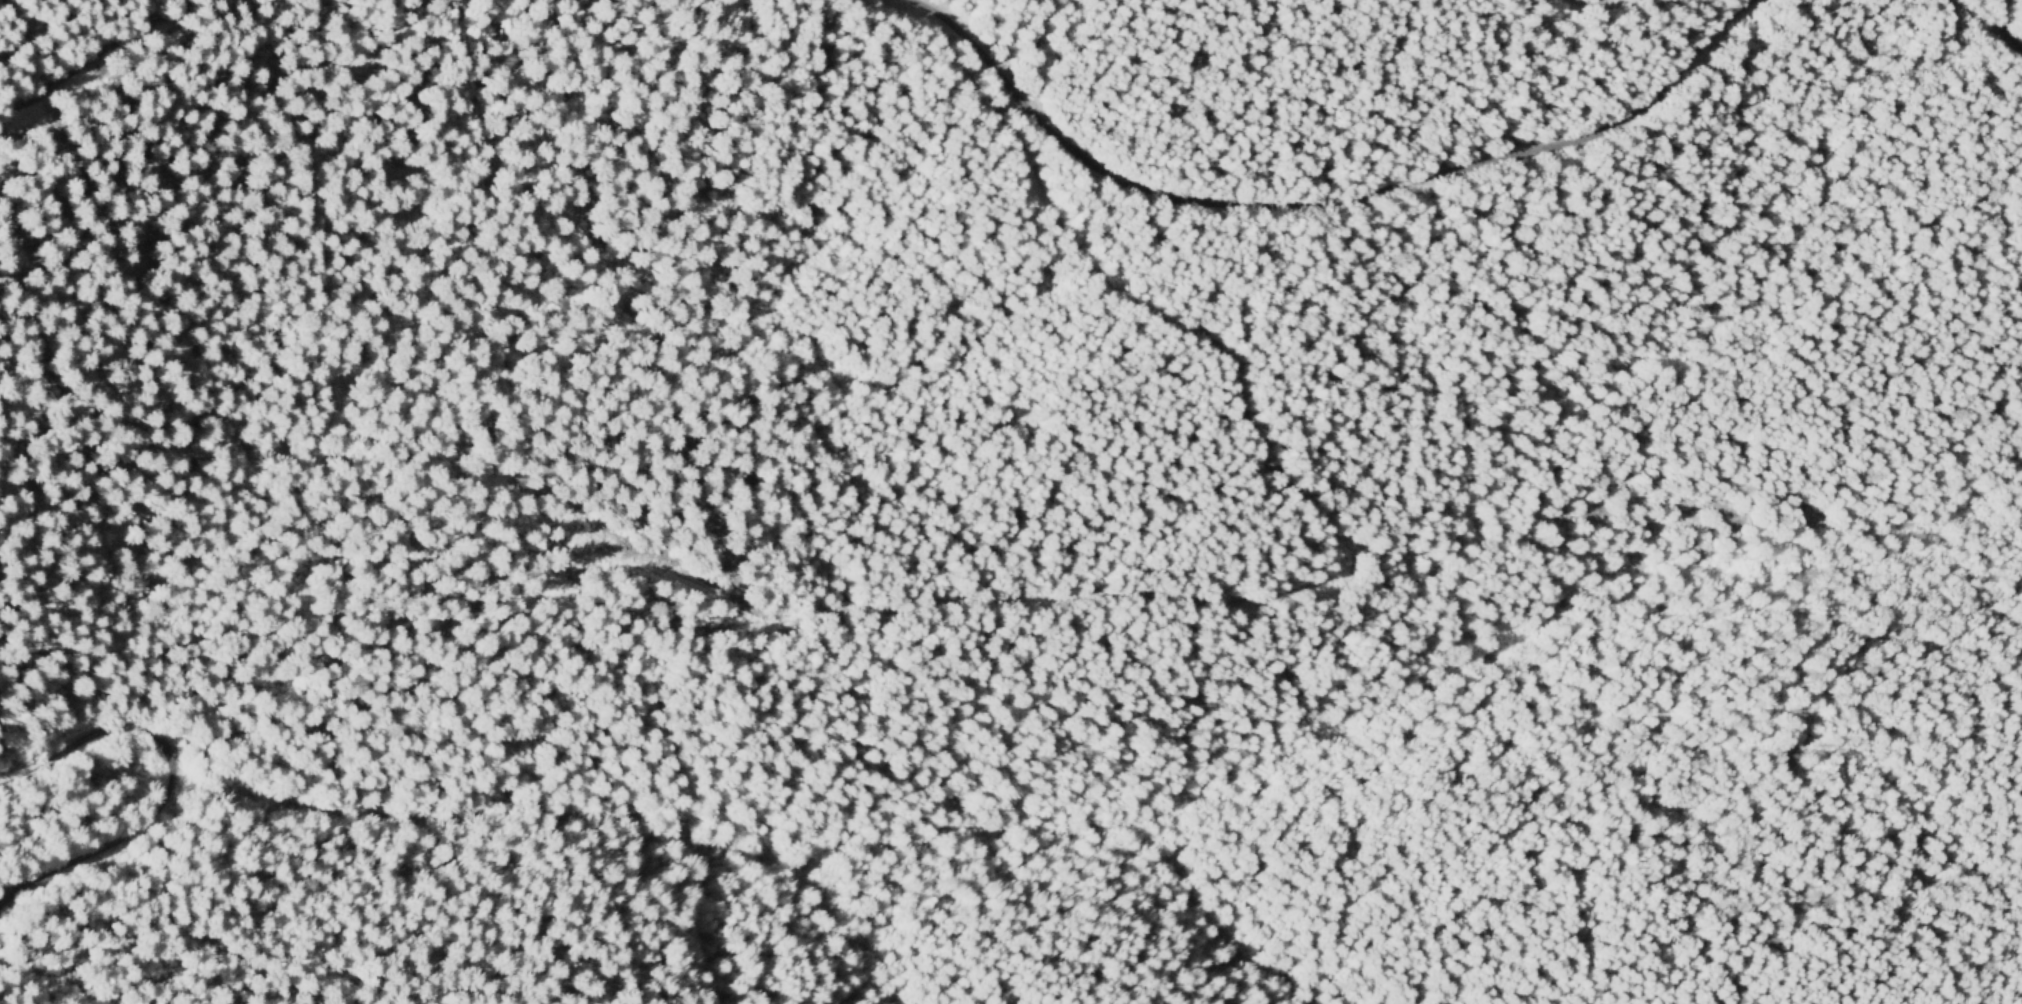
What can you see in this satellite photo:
road: (1990, 77)
road: (100, 79)
road: (1355, 164)
road: (101, 847)

